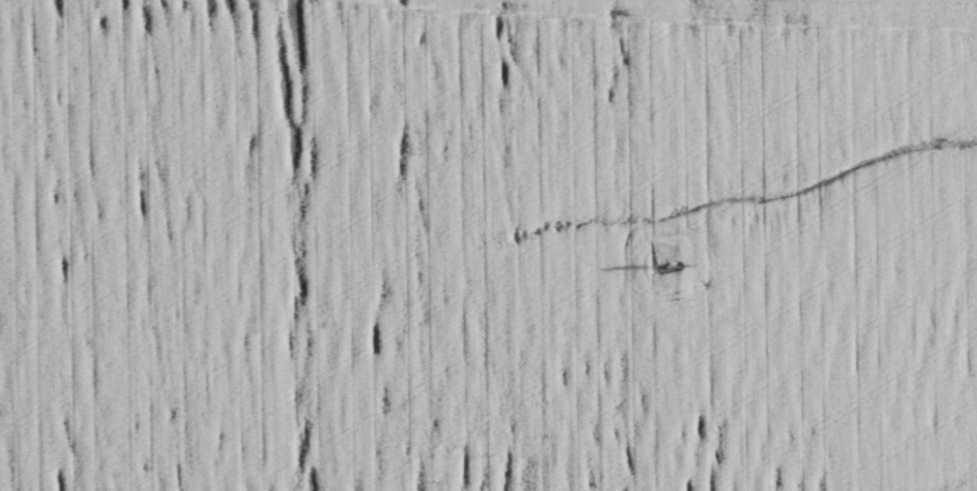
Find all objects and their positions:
power tower: (670, 263)

